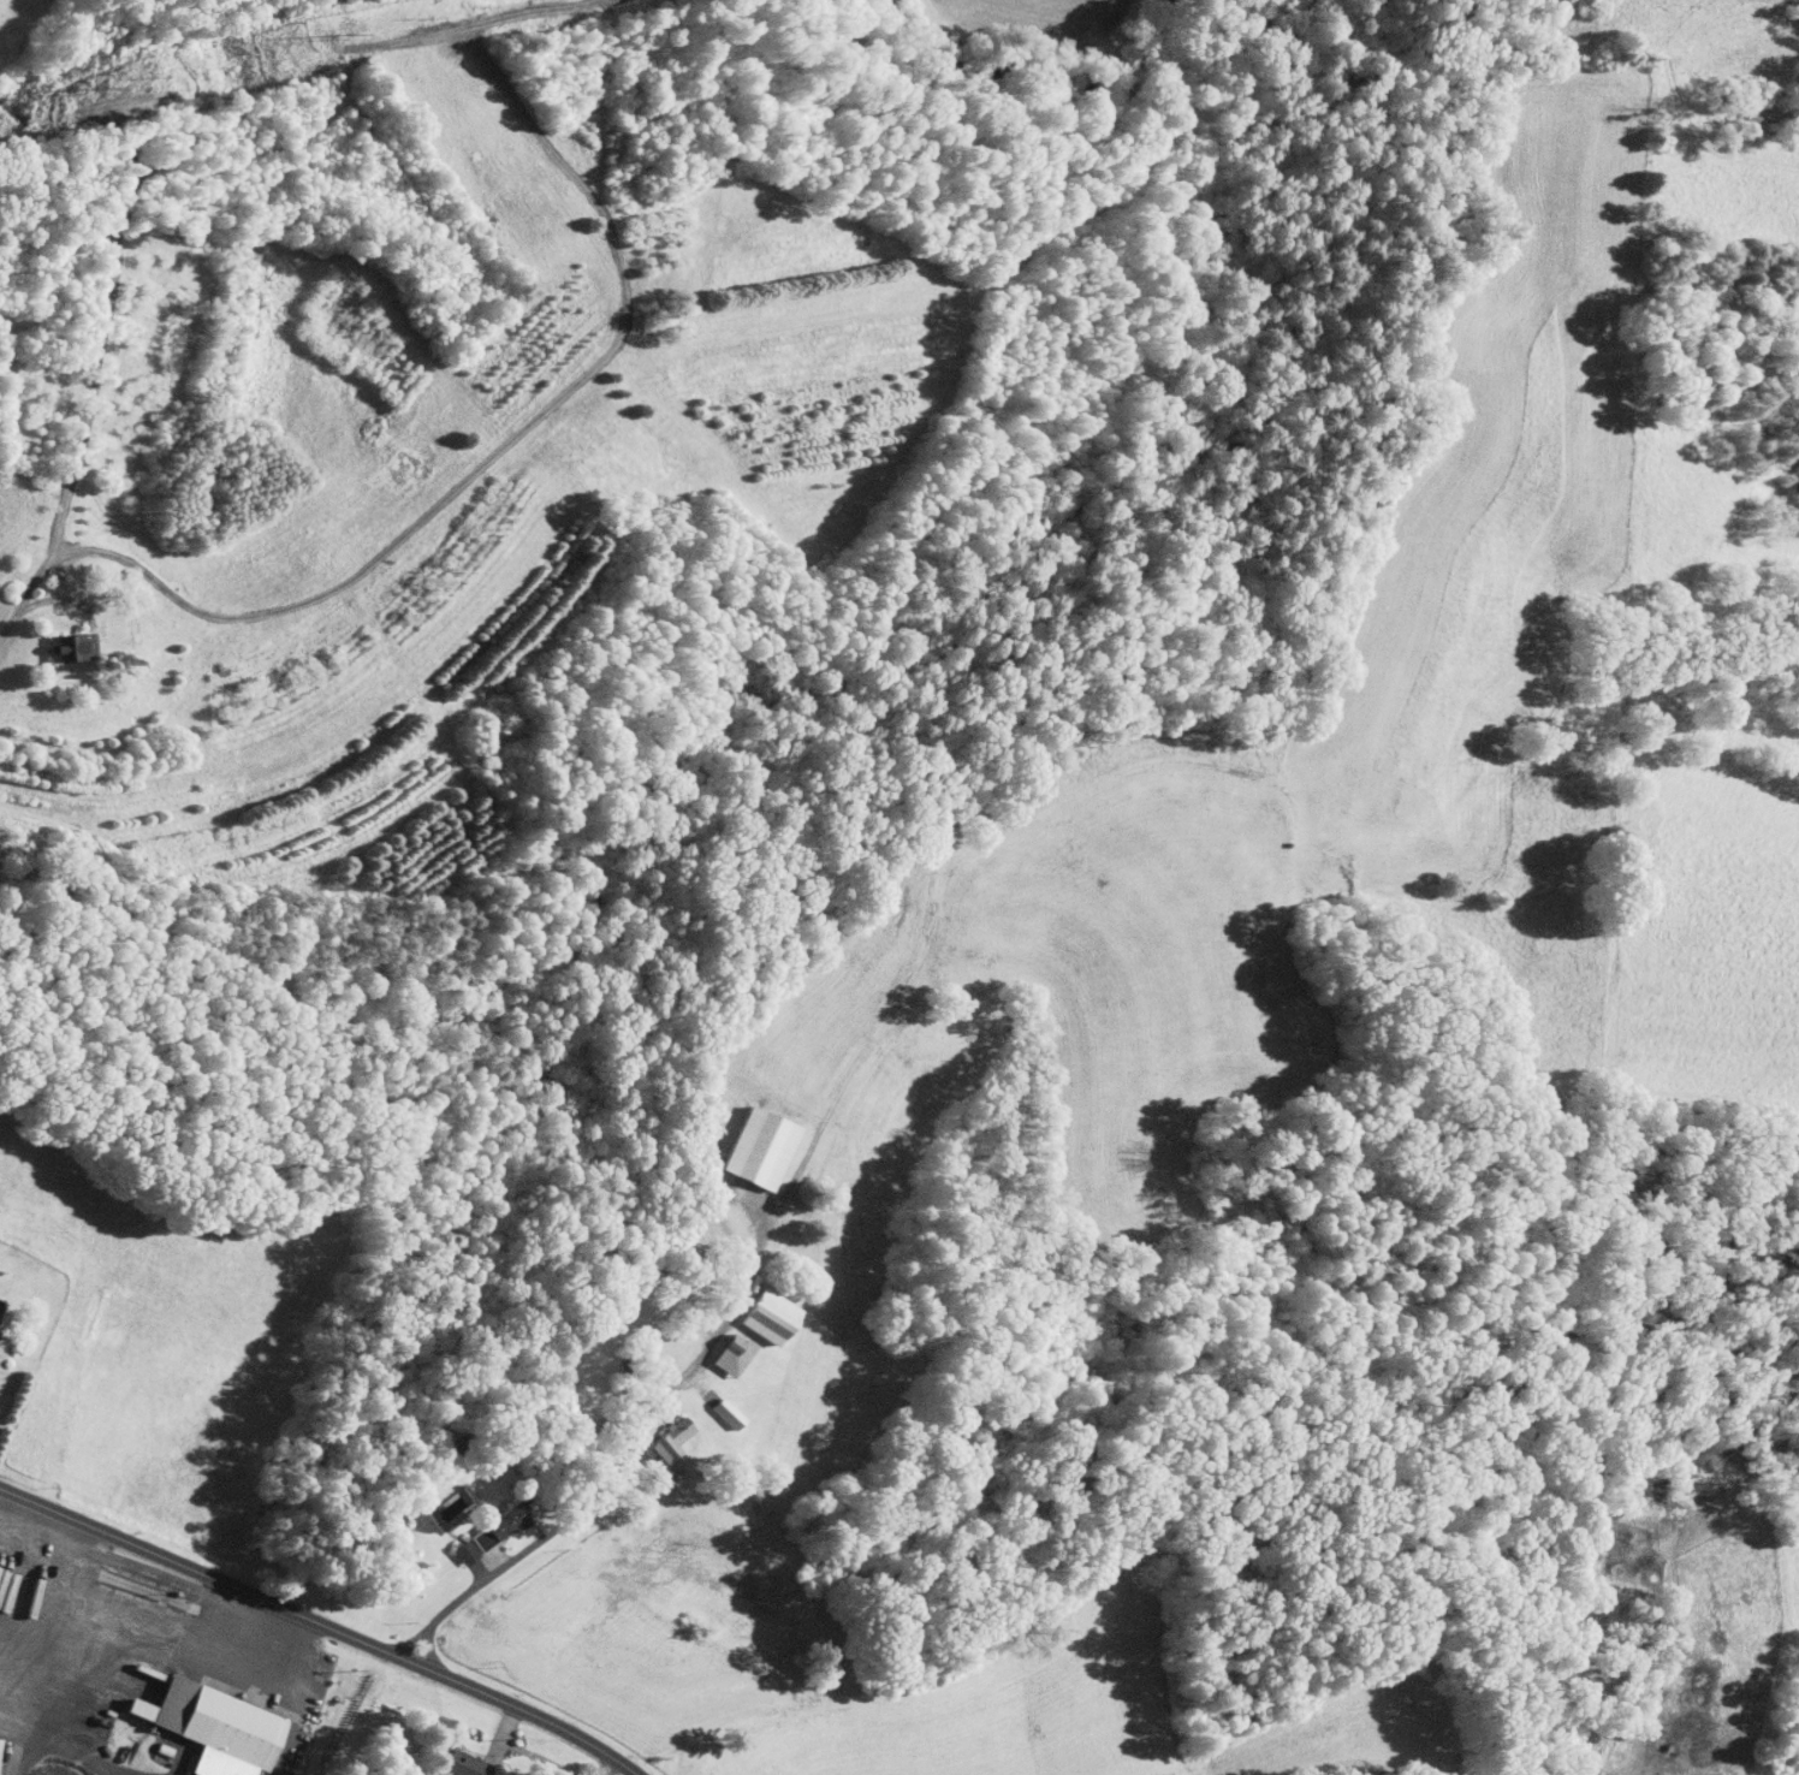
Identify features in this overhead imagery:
road: (44, 604)
building: (59, 640)
building: (748, 1141)
building: (758, 1310)
building: (720, 1348)
building: (714, 1407)
building: (659, 1435)
road: (625, 1454)
building: (481, 1533)
road: (320, 1623)
building: (208, 1728)
building: (455, 1765)
road: (608, 1767)

